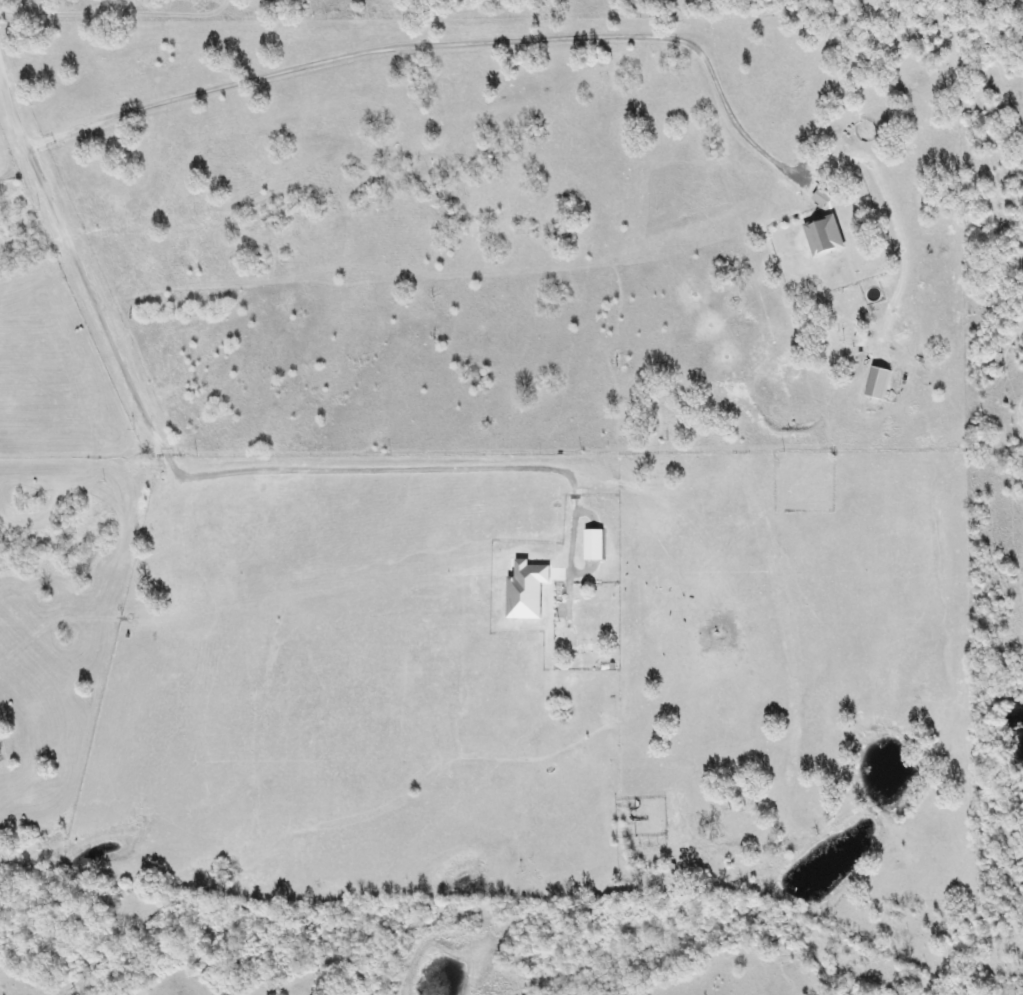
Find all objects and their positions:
road: (10, 114)
building: (827, 236)
building: (881, 383)
building: (597, 545)

